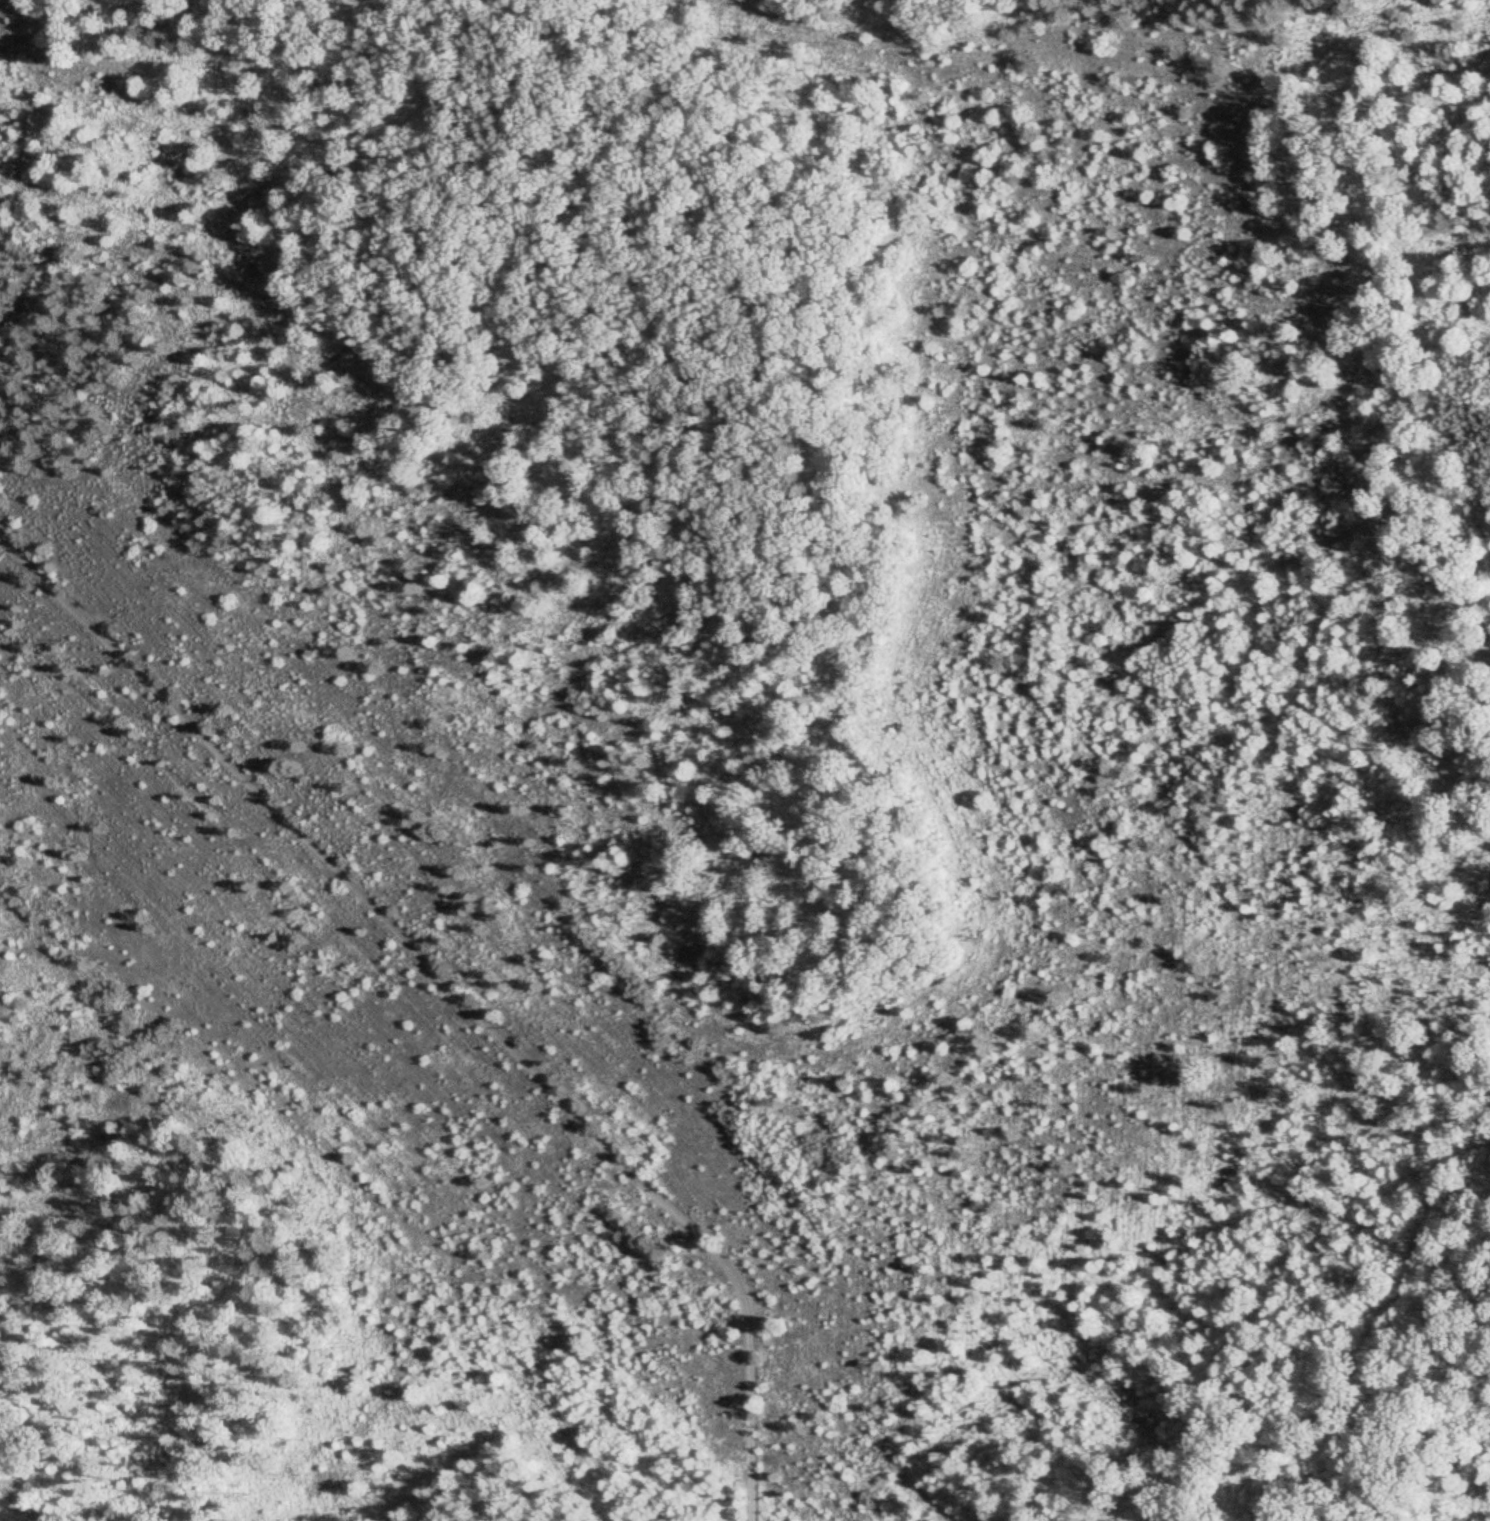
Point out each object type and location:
road: (460, 983)

